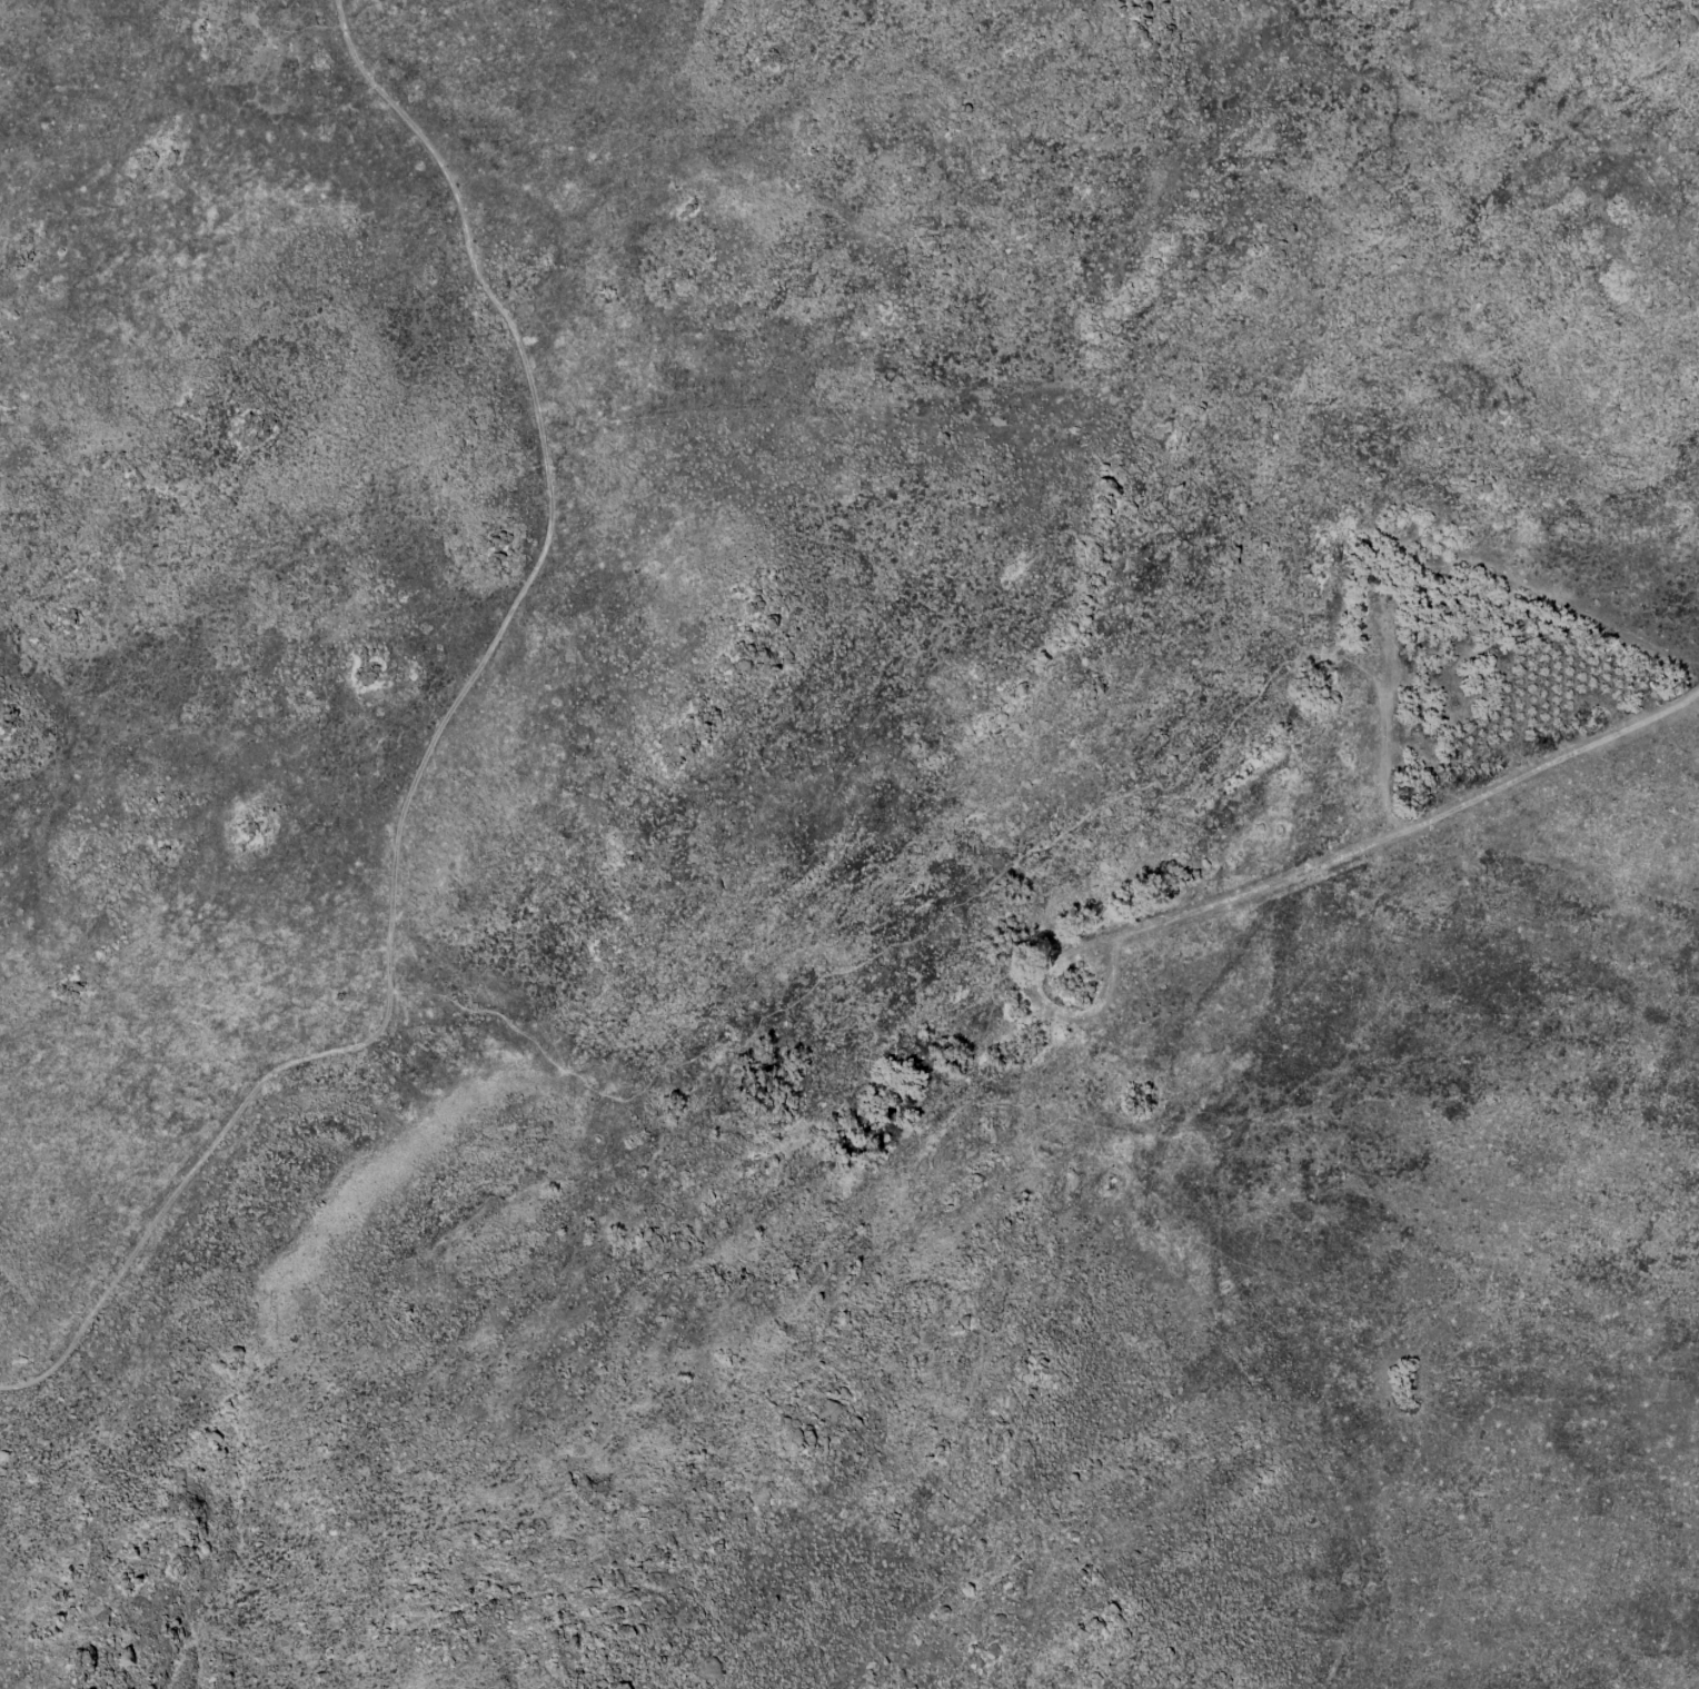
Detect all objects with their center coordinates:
road: (428, 746)

